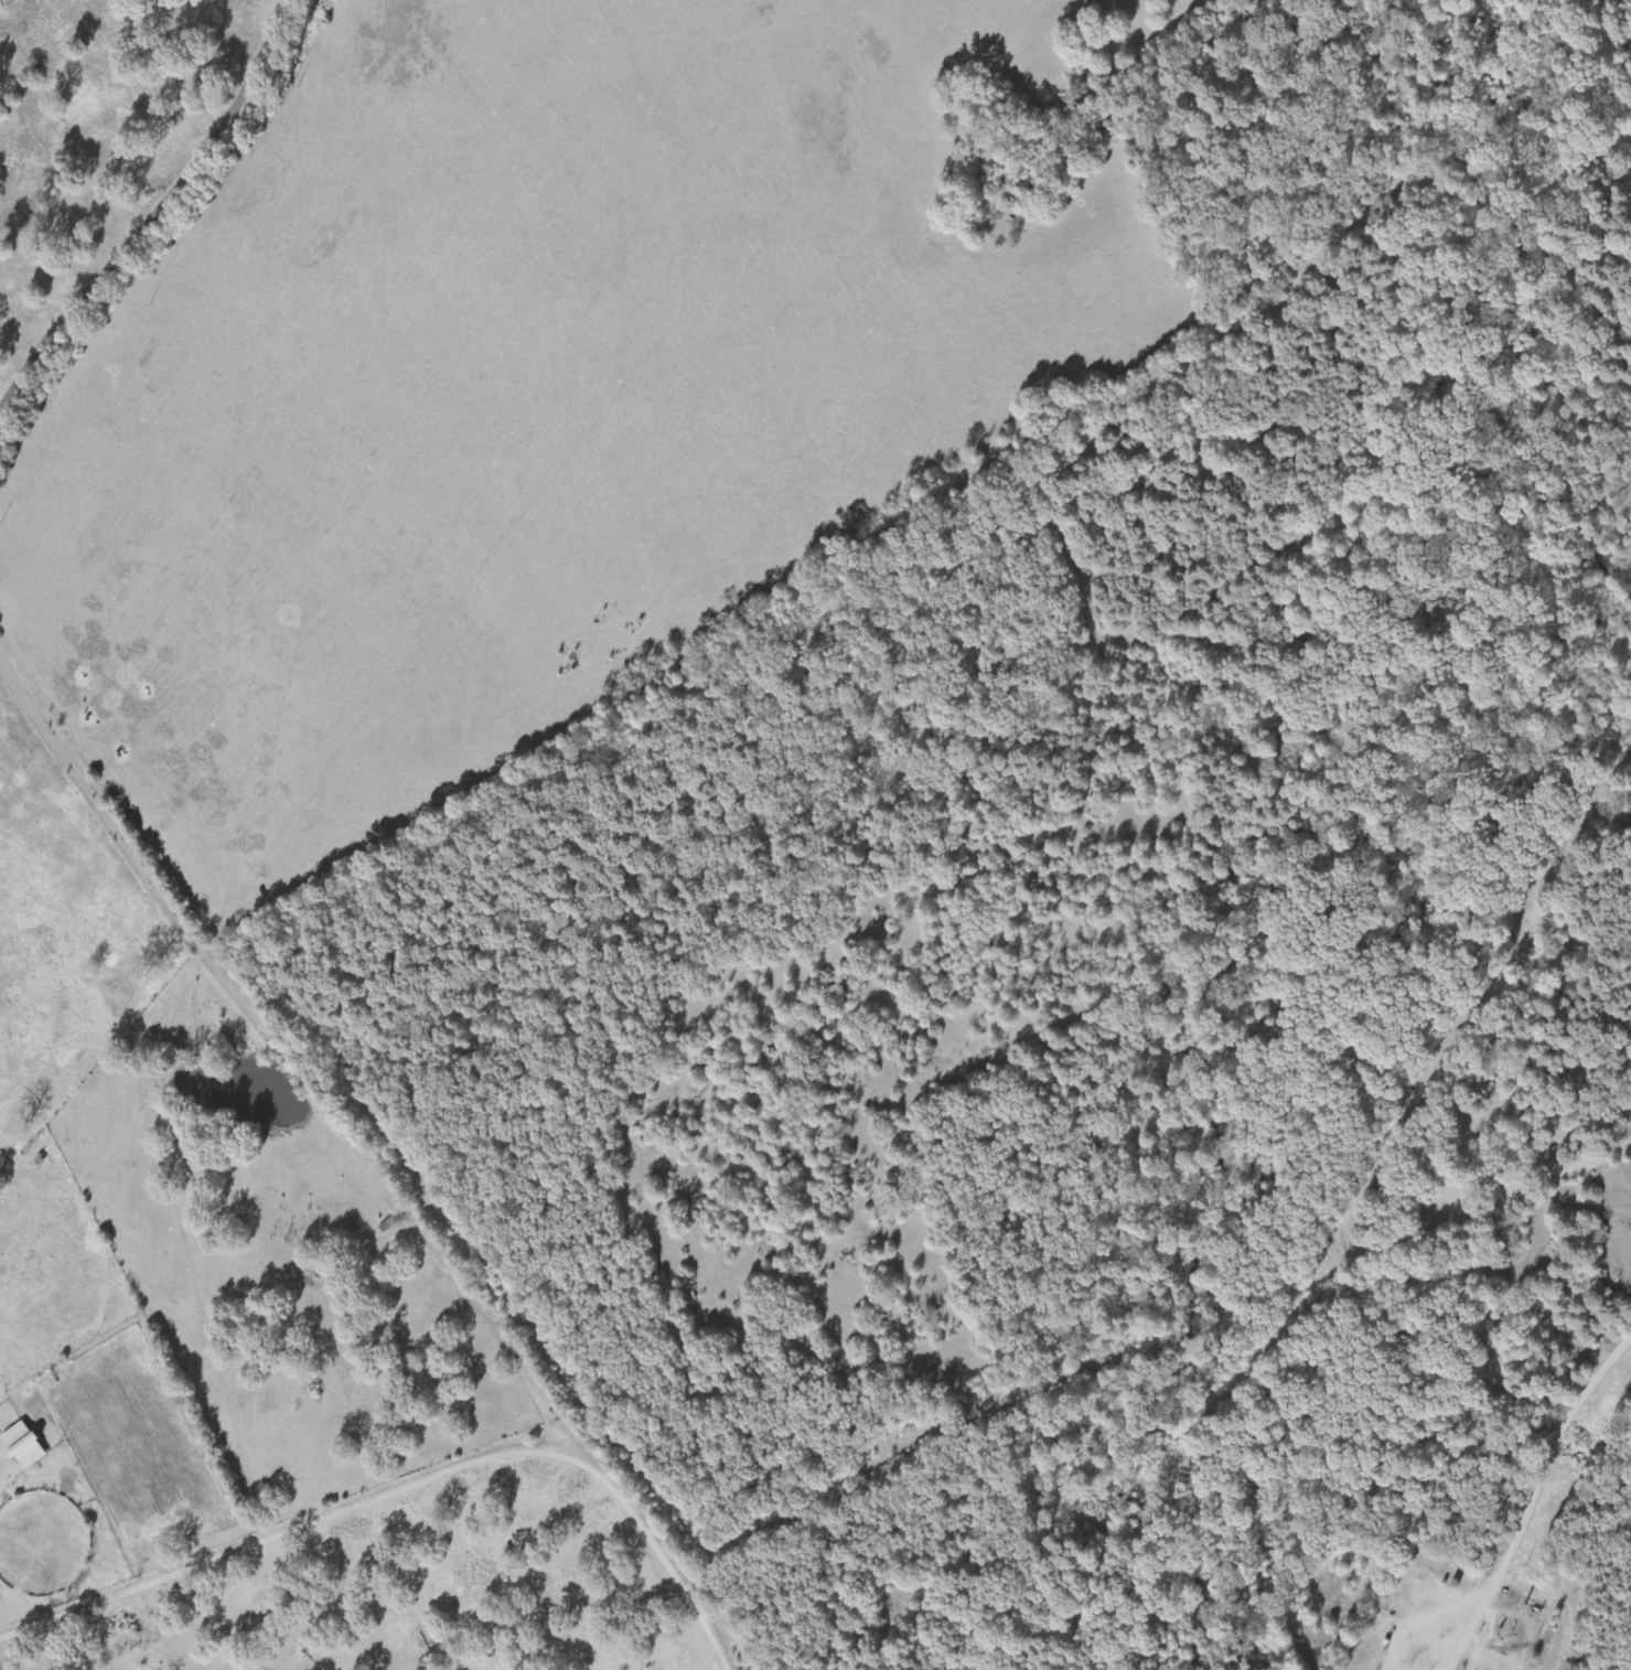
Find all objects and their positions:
road: (159, 213)
building: (28, 1446)

